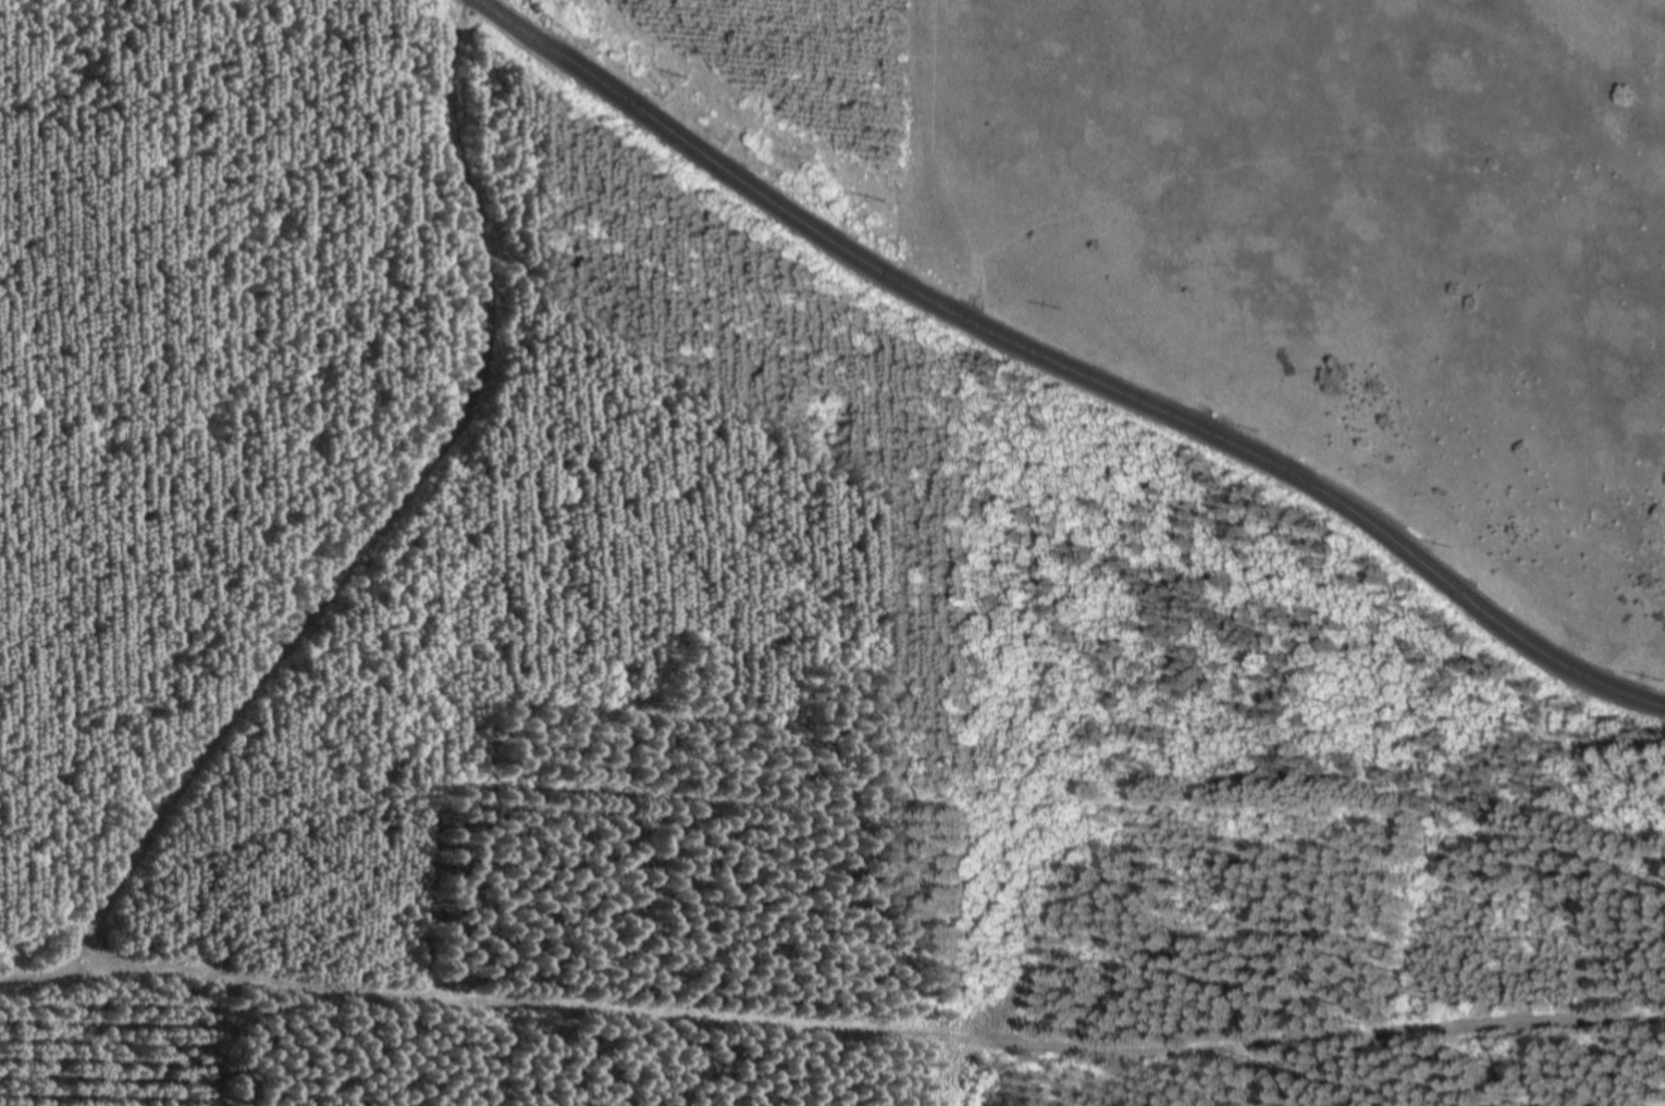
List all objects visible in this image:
road: (1081, 347)
road: (399, 508)

